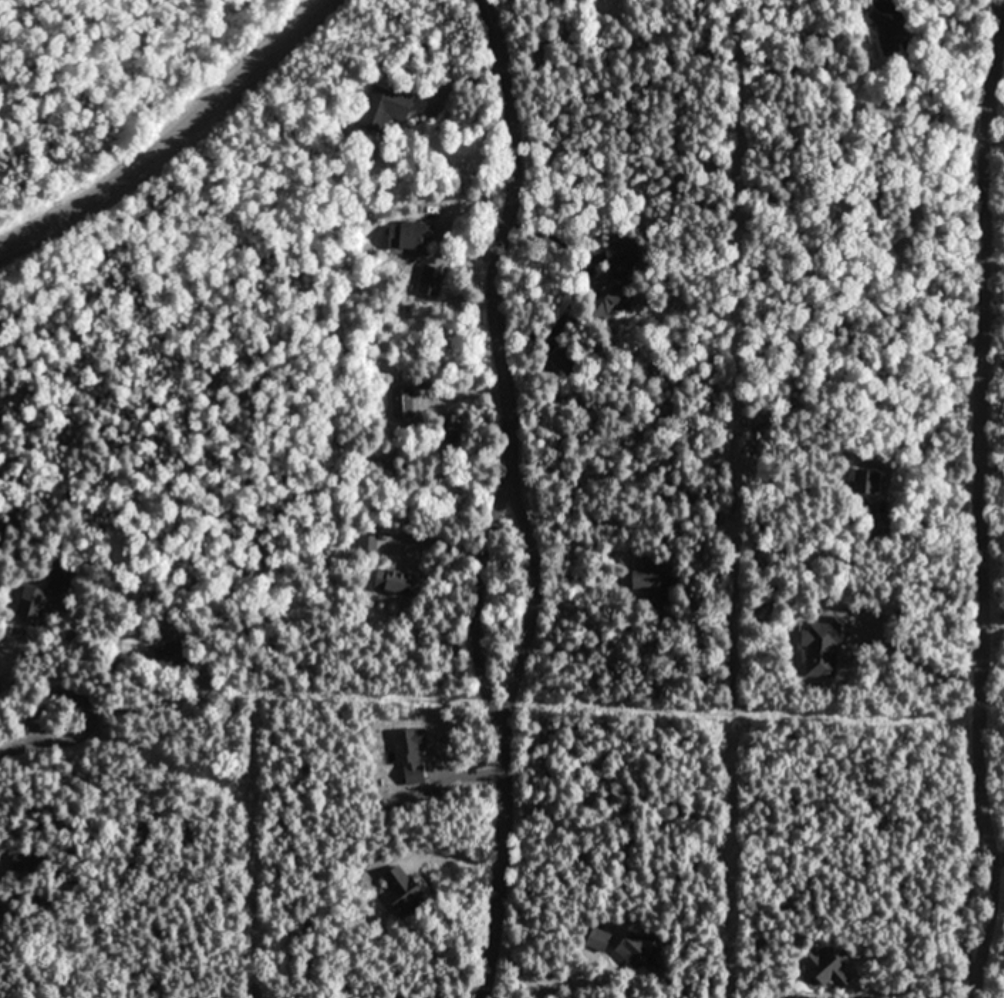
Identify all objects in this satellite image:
building: (894, 36)
building: (385, 107)
road: (174, 137)
building: (409, 234)
road: (503, 243)
building: (606, 291)
road: (40, 319)
building: (564, 357)
building: (403, 401)
building: (451, 427)
building: (863, 480)
road: (981, 501)
building: (366, 543)
building: (394, 581)
building: (655, 581)
building: (33, 602)
road: (538, 611)
road: (479, 612)
building: (824, 644)
building: (171, 653)
road: (34, 740)
road: (501, 865)
building: (400, 888)
building: (0, 912)
building: (597, 937)
building: (639, 948)
building: (825, 967)

